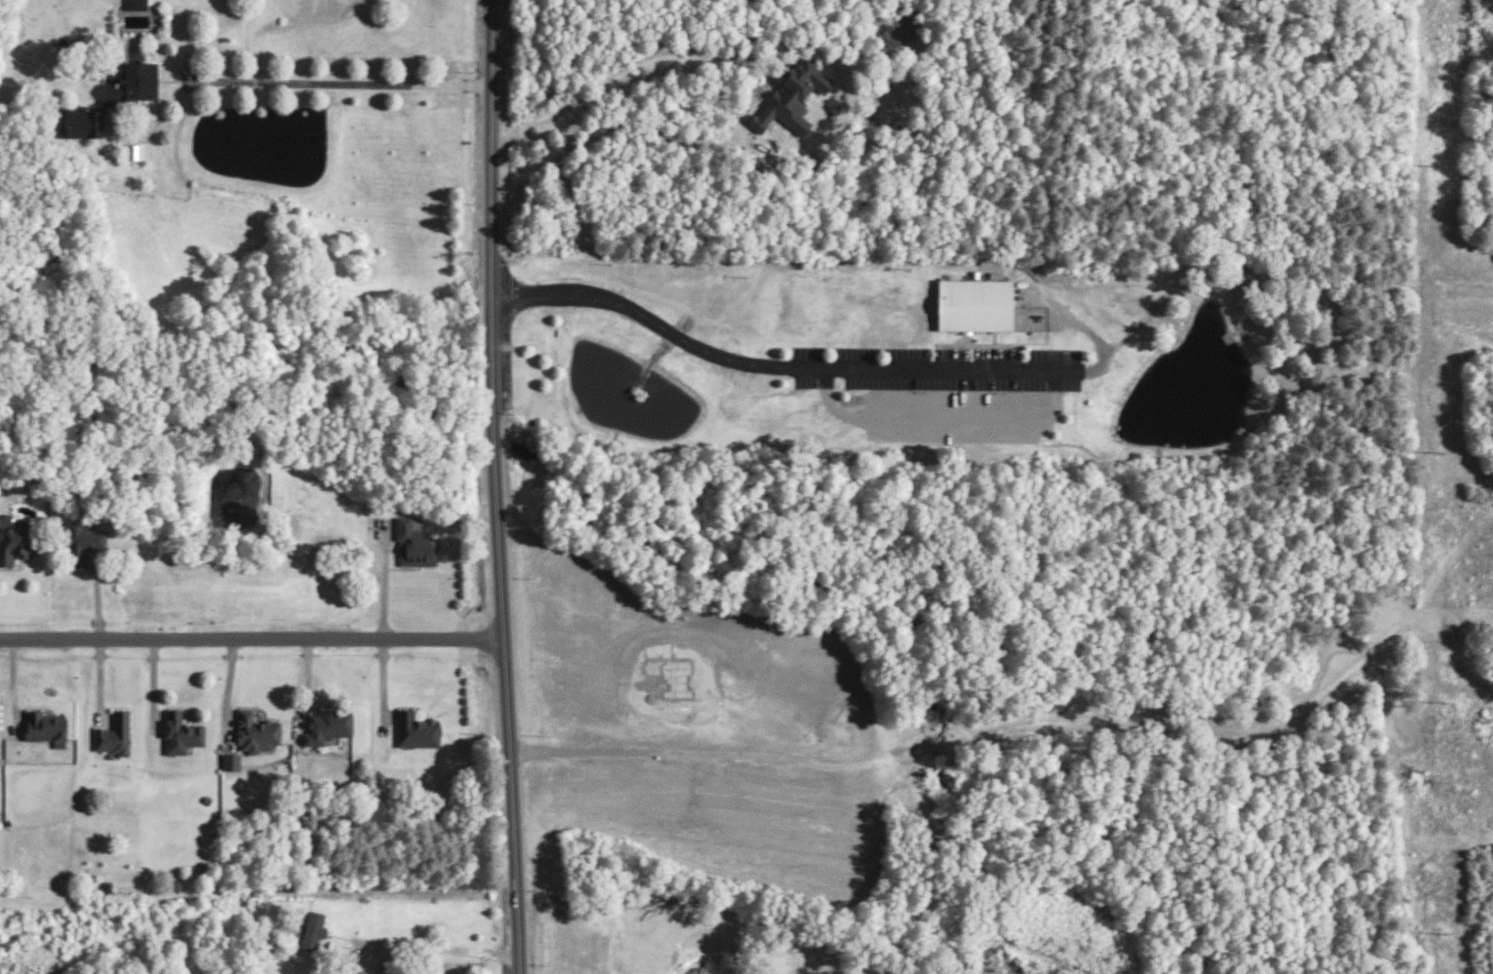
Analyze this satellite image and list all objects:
building: (136, 4)
road: (632, 74)
building: (128, 81)
road: (339, 83)
building: (789, 96)
building: (133, 152)
power tower: (1437, 162)
building: (974, 300)
parking lot: (940, 360)
road: (768, 363)
parking lot: (962, 407)
power tower: (1439, 447)
road: (494, 487)
building: (83, 538)
building: (13, 540)
building: (414, 542)
road: (252, 636)
building: (45, 726)
building: (416, 729)
building: (180, 732)
building: (255, 732)
building: (113, 734)
building: (231, 761)
power tower: (1444, 923)
building: (314, 931)
road: (438, 944)

